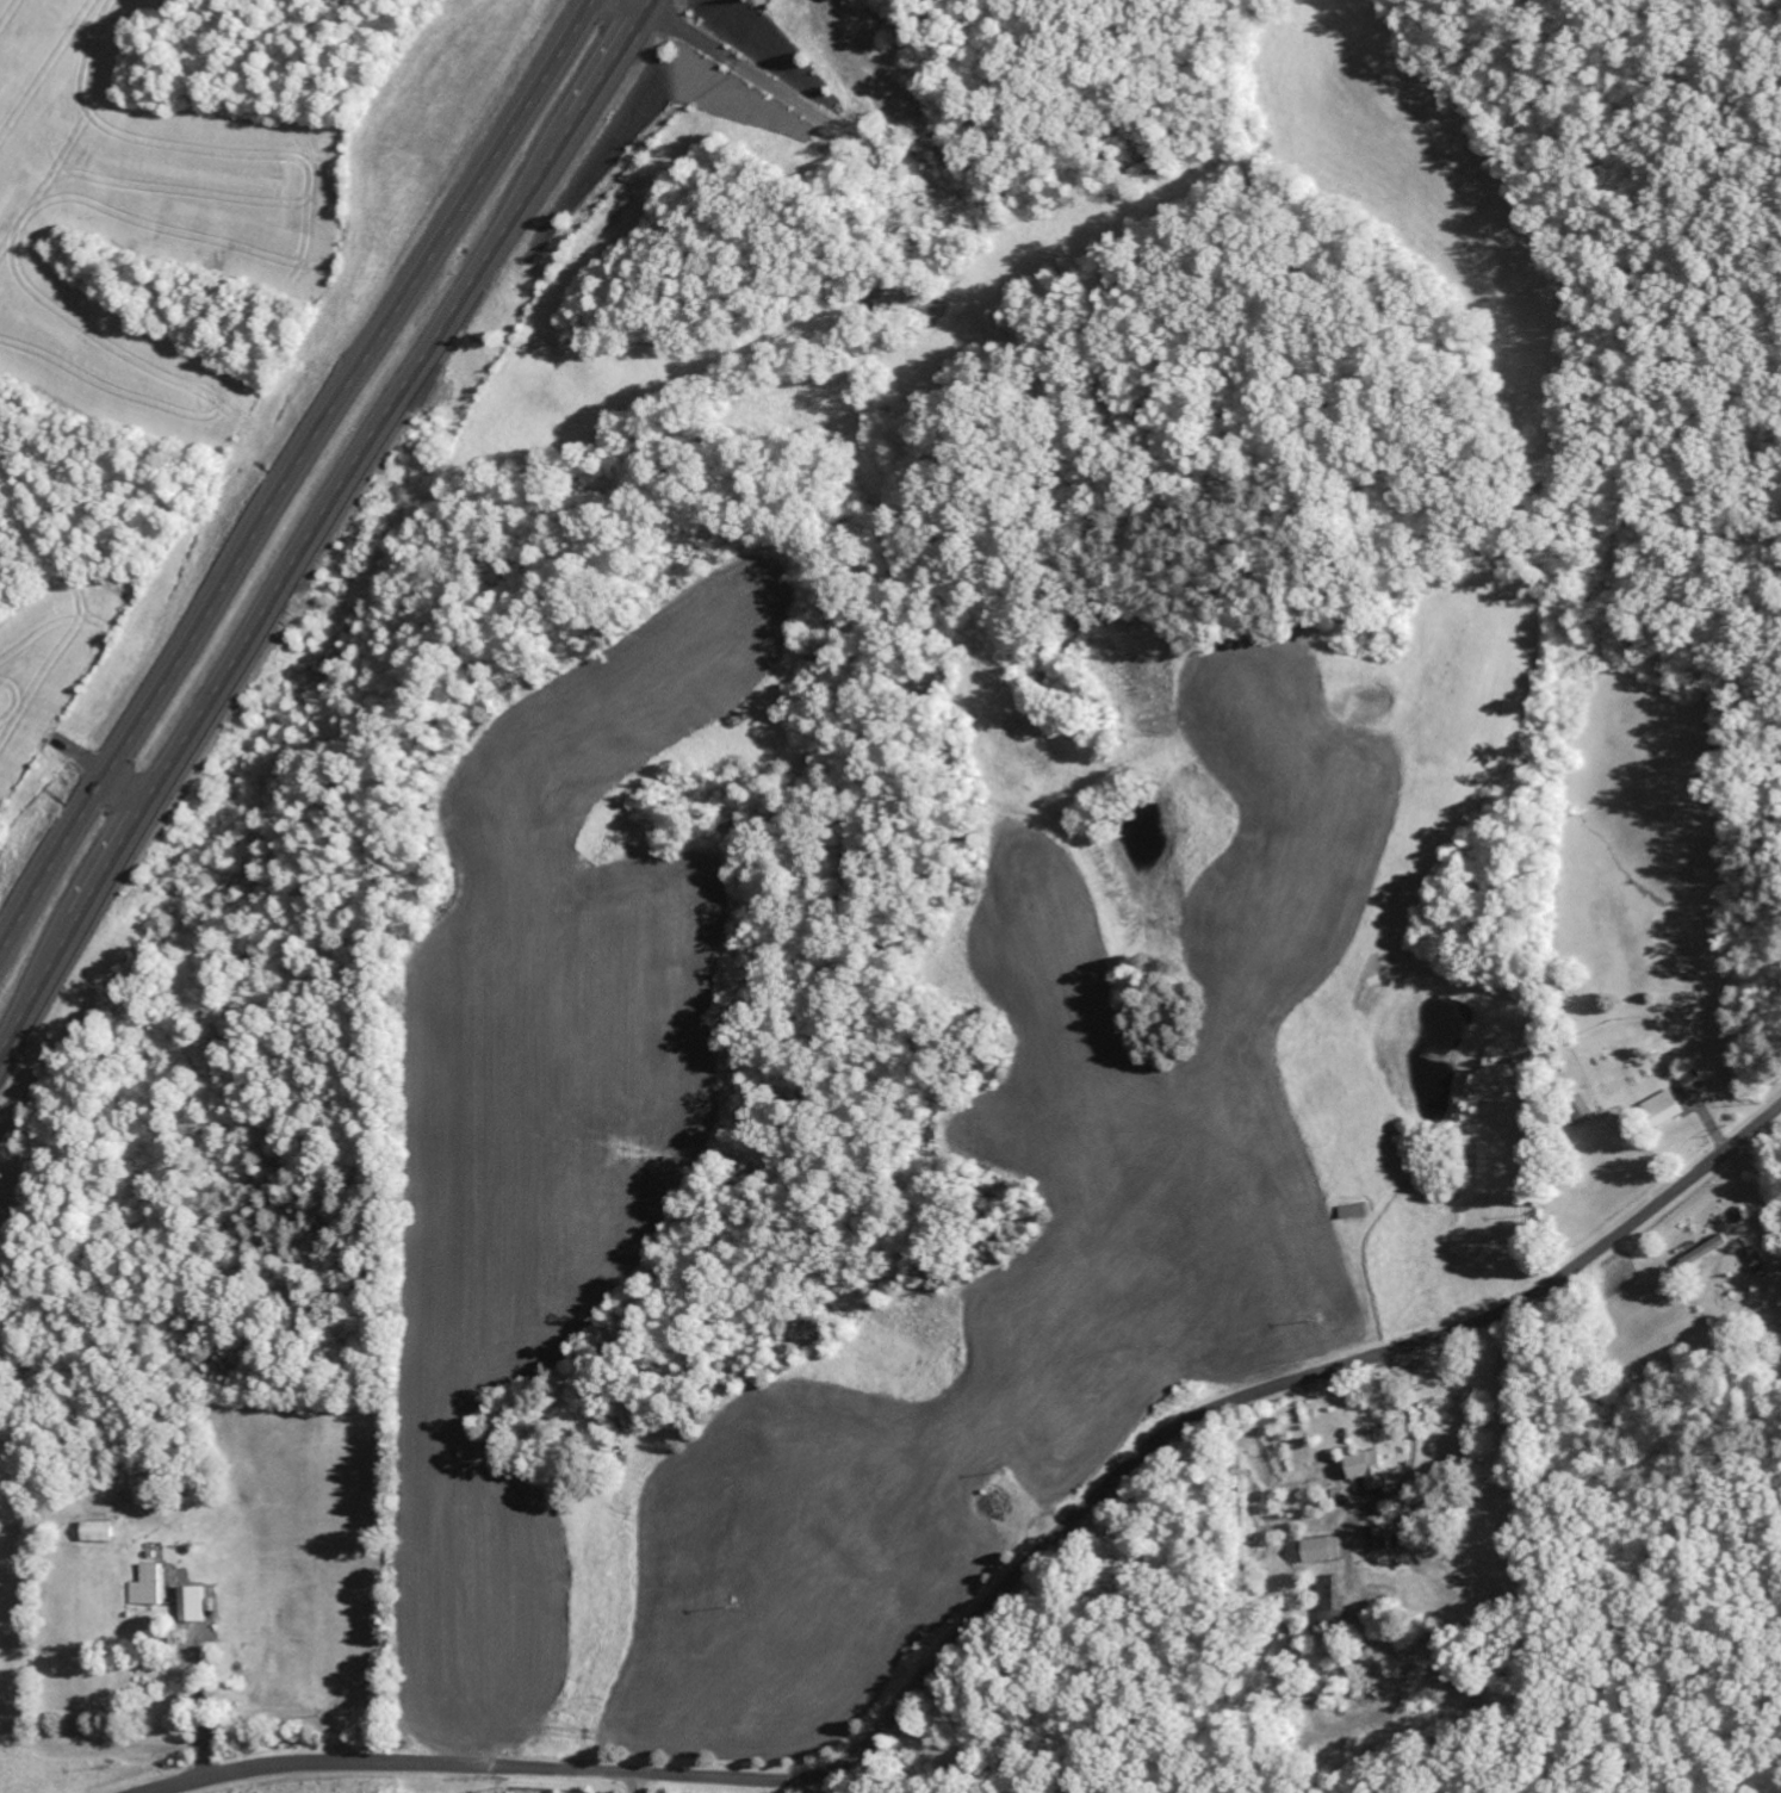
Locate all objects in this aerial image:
road: (632, 2)
road: (291, 479)
road: (318, 525)
road: (138, 777)
building: (1690, 1084)
building: (1659, 1109)
building: (1575, 1110)
building: (1704, 1252)
building: (1363, 1468)
building: (1374, 1537)
building: (1320, 1550)
building: (153, 1586)
road: (998, 1597)
building: (196, 1603)
road: (755, 1786)

